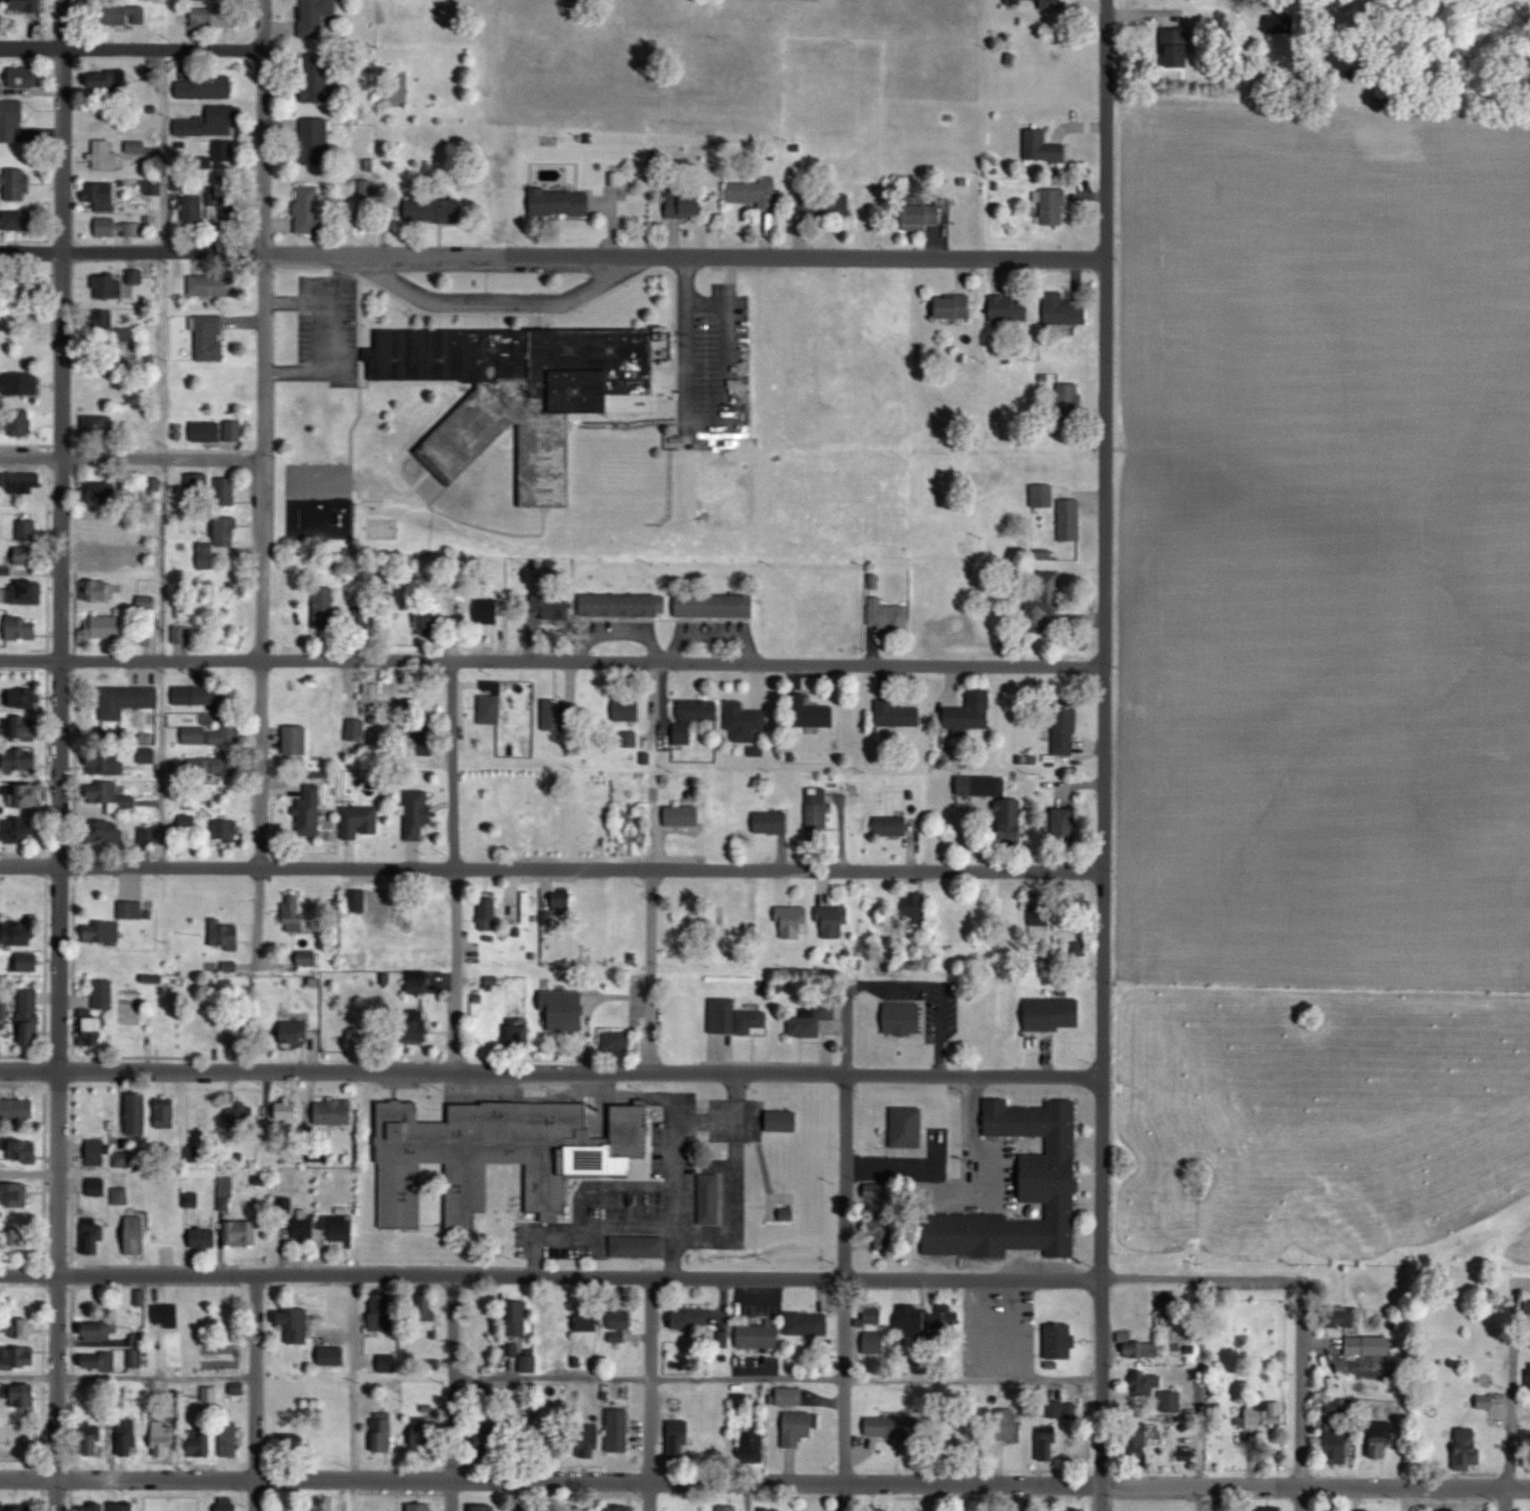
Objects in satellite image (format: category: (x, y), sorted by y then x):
building: (26, 5)
building: (132, 11)
building: (215, 15)
building: (316, 18)
road: (132, 46)
building: (1177, 48)
building: (27, 77)
building: (318, 77)
building: (109, 80)
building: (205, 87)
building: (220, 119)
building: (13, 121)
building: (315, 141)
building: (1042, 148)
building: (224, 151)
building: (106, 155)
building: (16, 183)
building: (178, 183)
building: (755, 191)
building: (101, 195)
building: (561, 201)
building: (686, 202)
building: (821, 203)
building: (1053, 206)
building: (222, 207)
building: (193, 209)
building: (309, 209)
building: (433, 210)
building: (924, 216)
building: (17, 219)
building: (115, 227)
road: (552, 252)
building: (213, 285)
building: (109, 286)
road: (706, 300)
road: (493, 303)
building: (953, 306)
building: (1010, 308)
building: (1064, 310)
road: (317, 337)
building: (210, 338)
building: (19, 382)
building: (522, 392)
building: (1070, 402)
building: (21, 425)
building: (207, 431)
building: (234, 431)
road: (707, 442)
road: (161, 456)
road: (131, 458)
building: (26, 483)
road: (263, 484)
building: (153, 485)
building: (225, 492)
building: (1042, 496)
building: (1070, 519)
building: (27, 529)
building: (218, 541)
building: (27, 555)
building: (102, 559)
building: (5, 569)
building: (99, 590)
building: (26, 591)
building: (624, 604)
building: (715, 605)
building: (1043, 605)
building: (146, 606)
building: (550, 607)
building: (325, 608)
building: (489, 610)
building: (360, 612)
building: (888, 616)
building: (430, 622)
building: (22, 626)
building: (110, 627)
building: (182, 634)
building: (151, 635)
road: (131, 660)
road: (683, 666)
building: (201, 695)
building: (24, 698)
building: (371, 698)
building: (125, 701)
building: (491, 702)
building: (627, 710)
building: (812, 712)
building: (971, 712)
building: (899, 714)
building: (555, 715)
building: (693, 718)
building: (744, 721)
building: (25, 727)
building: (1065, 727)
building: (357, 730)
building: (228, 732)
building: (195, 735)
building: (630, 738)
building: (296, 740)
road: (60, 755)
building: (147, 755)
road: (1103, 755)
building: (22, 760)
building: (107, 761)
building: (216, 765)
building: (978, 785)
building: (22, 795)
building: (112, 797)
building: (310, 811)
building: (418, 813)
building: (817, 813)
building: (682, 815)
building: (1010, 820)
building: (362, 822)
building: (772, 822)
building: (1064, 823)
building: (559, 824)
building: (892, 825)
building: (189, 826)
building: (21, 829)
building: (594, 829)
building: (227, 830)
building: (149, 839)
building: (107, 840)
road: (30, 863)
road: (580, 866)
road: (456, 869)
building: (21, 899)
building: (356, 900)
building: (562, 903)
building: (526, 908)
building: (914, 908)
building: (380, 909)
building: (131, 910)
building: (294, 913)
building: (487, 914)
building: (1040, 914)
building: (791, 921)
building: (833, 921)
building: (722, 926)
building: (20, 932)
building: (103, 932)
building: (224, 935)
building: (308, 959)
building: (29, 962)
road: (357, 968)
road: (652, 968)
building: (419, 982)
road: (938, 984)
building: (104, 1000)
building: (565, 1009)
building: (1055, 1014)
building: (31, 1017)
building: (735, 1018)
building: (904, 1018)
building: (812, 1019)
building: (681, 1023)
building: (416, 1028)
building: (93, 1030)
building: (522, 1031)
building: (295, 1033)
building: (235, 1035)
building: (616, 1042)
road: (315, 1052)
road: (551, 1072)
road: (735, 1098)
building: (17, 1108)
building: (287, 1111)
building: (166, 1112)
building: (337, 1112)
building: (138, 1113)
building: (238, 1114)
building: (98, 1115)
building: (783, 1120)
building: (908, 1127)
building: (521, 1142)
road: (967, 1148)
building: (22, 1149)
building: (98, 1151)
road: (75, 1172)
road: (734, 1181)
building: (98, 1185)
road: (674, 1187)
building: (1023, 1190)
building: (14, 1195)
building: (121, 1195)
road: (576, 1209)
building: (306, 1228)
building: (339, 1228)
building: (241, 1232)
road: (845, 1233)
building: (885, 1233)
building: (137, 1234)
building: (19, 1235)
building: (93, 1236)
building: (204, 1238)
road: (29, 1274)
road: (679, 1279)
building: (140, 1297)
building: (27, 1304)
building: (428, 1307)
building: (1528, 1308)
building: (383, 1312)
building: (873, 1314)
building: (166, 1315)
building: (554, 1316)
building: (1349, 1316)
building: (484, 1318)
building: (519, 1318)
building: (946, 1318)
building: (689, 1319)
building: (621, 1320)
building: (913, 1320)
building: (588, 1322)
building: (808, 1323)
building: (299, 1326)
building: (23, 1328)
building: (101, 1329)
road: (983, 1329)
road: (1014, 1329)
building: (760, 1335)
building: (1059, 1341)
building: (1356, 1348)
building: (1141, 1349)
building: (333, 1356)
building: (20, 1357)
building: (136, 1358)
building: (99, 1361)
building: (388, 1362)
building: (529, 1364)
road: (128, 1378)
road: (649, 1380)
road: (775, 1380)
building: (1157, 1391)
road: (256, 1393)
road: (353, 1393)
road: (449, 1393)
road: (1197, 1394)
building: (26, 1395)
road: (1301, 1395)
building: (790, 1396)
building: (741, 1401)
building: (1485, 1401)
building: (1061, 1410)
building: (1265, 1414)
road: (1508, 1418)
building: (1008, 1424)
building: (893, 1426)
building: (799, 1427)
building: (429, 1430)
building: (618, 1430)
building: (383, 1432)
building: (968, 1432)
building: (129, 1438)
building: (164, 1438)
building: (679, 1439)
building: (1381, 1439)
building: (94, 1440)
building: (230, 1440)
building: (298, 1440)
building: (490, 1440)
building: (201, 1442)
building: (1140, 1442)
building: (25, 1444)
building: (1049, 1444)
building: (591, 1446)
building: (753, 1446)
building: (1337, 1446)
building: (1468, 1447)
building: (1080, 1450)
road: (27, 1475)
road: (792, 1483)
road: (550, 1495)
road: (649, 1496)
road: (747, 1497)
road: (845, 1497)
road: (1402, 1499)
building: (227, 1504)
building: (162, 1506)
building: (95, 1507)
building: (125, 1507)
building: (421, 1507)
building: (486, 1508)
building: (622, 1508)
building: (725, 1508)
building: (1272, 1508)
building: (20, 1509)
building: (527, 1509)
building: (773, 1509)
building: (584, 1510)
building: (879, 1510)
building: (1078, 1510)
building: (1450, 1510)

